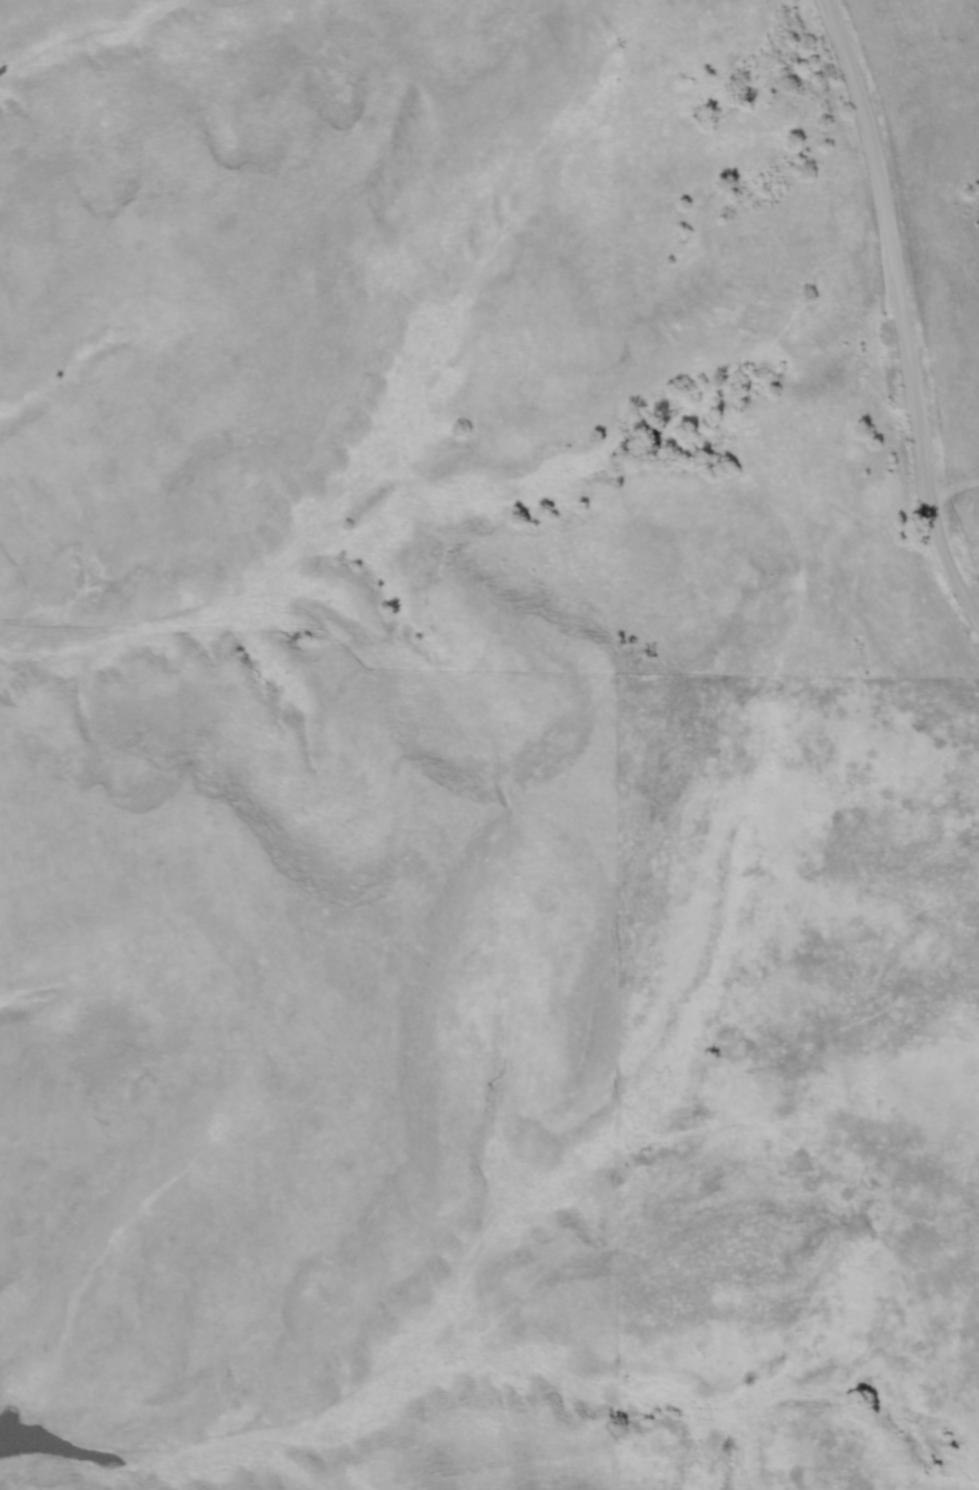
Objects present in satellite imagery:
road: (902, 309)

